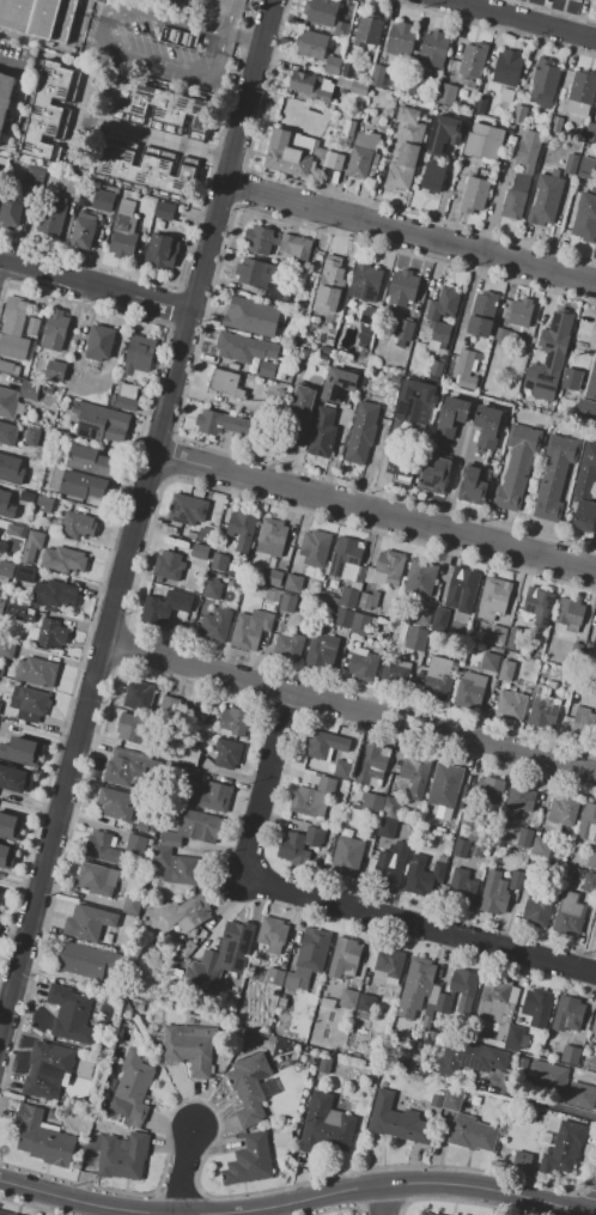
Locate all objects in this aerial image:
building: (594, 0)
building: (347, 10)
road: (555, 10)
building: (321, 13)
building: (47, 19)
road: (523, 19)
road: (492, 28)
building: (342, 29)
building: (369, 34)
road: (242, 36)
building: (401, 40)
road: (99, 43)
building: (312, 44)
building: (433, 50)
building: (474, 59)
road: (8, 63)
building: (332, 63)
building: (509, 67)
building: (377, 74)
building: (545, 84)
building: (311, 85)
building: (359, 89)
building: (5, 93)
building: (446, 93)
building: (506, 95)
building: (580, 96)
building: (481, 104)
building: (163, 105)
building: (50, 110)
building: (519, 115)
building: (315, 119)
road: (84, 120)
building: (555, 124)
building: (349, 129)
road: (157, 134)
building: (591, 134)
building: (444, 135)
building: (484, 141)
road: (215, 142)
building: (406, 148)
building: (529, 152)
building: (298, 153)
road: (230, 154)
building: (364, 156)
building: (586, 168)
building: (0, 170)
building: (146, 171)
building: (0, 174)
building: (434, 176)
building: (36, 177)
building: (522, 182)
building: (73, 186)
road: (335, 192)
building: (475, 193)
building: (545, 199)
building: (103, 200)
building: (515, 203)
building: (11, 209)
building: (165, 211)
building: (585, 217)
building: (50, 218)
building: (123, 230)
building: (83, 231)
road: (409, 232)
building: (276, 243)
building: (160, 251)
road: (8, 261)
road: (89, 261)
building: (318, 261)
building: (257, 274)
building: (337, 274)
road: (1, 281)
building: (365, 281)
road: (93, 285)
road: (178, 287)
building: (402, 287)
road: (194, 293)
building: (444, 303)
road: (174, 308)
building: (521, 312)
building: (482, 314)
building: (253, 315)
building: (367, 315)
building: (13, 316)
building: (34, 326)
building: (55, 329)
road: (184, 329)
building: (403, 332)
building: (440, 333)
building: (500, 334)
building: (416, 335)
building: (297, 339)
building: (99, 342)
building: (13, 346)
building: (241, 347)
road: (195, 350)
building: (323, 350)
building: (294, 353)
building: (373, 353)
building: (363, 354)
building: (139, 357)
building: (549, 357)
building: (323, 358)
building: (8, 367)
building: (466, 367)
building: (267, 369)
building: (55, 371)
building: (436, 371)
building: (571, 378)
building: (591, 382)
building: (226, 383)
building: (337, 384)
building: (30, 389)
building: (47, 390)
building: (370, 394)
building: (390, 401)
building: (415, 401)
building: (8, 403)
building: (126, 403)
building: (86, 408)
building: (585, 411)
building: (299, 414)
building: (452, 415)
building: (223, 424)
building: (487, 425)
building: (115, 427)
building: (322, 432)
building: (361, 432)
building: (7, 433)
building: (30, 436)
road: (334, 452)
building: (0, 455)
road: (169, 457)
building: (89, 460)
building: (517, 466)
building: (434, 473)
building: (554, 476)
road: (452, 479)
building: (475, 484)
building: (83, 485)
building: (0, 491)
building: (199, 492)
building: (584, 493)
building: (23, 496)
building: (44, 504)
building: (187, 509)
road: (308, 512)
road: (373, 512)
building: (77, 524)
building: (242, 529)
building: (13, 530)
building: (206, 535)
building: (272, 537)
building: (31, 546)
building: (2, 547)
building: (315, 548)
building: (200, 552)
road: (108, 554)
building: (346, 558)
building: (63, 559)
building: (219, 561)
building: (169, 565)
building: (389, 567)
building: (6, 569)
building: (26, 575)
building: (421, 576)
building: (272, 577)
building: (294, 583)
building: (334, 583)
building: (462, 589)
building: (212, 590)
building: (60, 594)
building: (273, 595)
building: (348, 597)
building: (493, 599)
building: (366, 601)
building: (288, 603)
building: (1, 607)
building: (164, 607)
building: (539, 607)
building: (19, 612)
building: (570, 612)
building: (425, 615)
building: (449, 618)
building: (343, 619)
building: (215, 624)
building: (360, 624)
building: (250, 628)
building: (51, 633)
building: (497, 634)
building: (595, 637)
building: (412, 638)
building: (516, 639)
building: (432, 644)
building: (288, 645)
road: (118, 646)
building: (7, 648)
building: (322, 651)
building: (491, 661)
building: (545, 663)
building: (363, 664)
building: (36, 670)
building: (506, 670)
road: (95, 672)
building: (1, 673)
building: (395, 674)
building: (438, 680)
building: (469, 691)
building: (139, 695)
building: (0, 704)
building: (31, 704)
building: (169, 705)
road: (348, 706)
building: (511, 706)
building: (542, 712)
building: (235, 721)
building: (584, 725)
building: (133, 728)
building: (324, 743)
building: (23, 749)
building: (227, 752)
building: (187, 755)
building: (371, 765)
building: (132, 767)
building: (342, 769)
building: (186, 773)
building: (415, 774)
building: (14, 778)
building: (445, 785)
building: (488, 790)
building: (212, 796)
building: (312, 797)
building: (521, 797)
building: (116, 803)
building: (372, 804)
building: (564, 810)
building: (588, 824)
building: (10, 826)
building: (142, 826)
building: (191, 827)
building: (387, 828)
building: (525, 837)
building: (135, 845)
building: (299, 845)
building: (541, 846)
building: (102, 848)
building: (461, 848)
building: (347, 851)
building: (6, 855)
building: (591, 859)
building: (177, 867)
building: (388, 870)
building: (535, 870)
building: (422, 876)
building: (97, 879)
building: (516, 880)
road: (56, 882)
building: (589, 882)
building: (462, 888)
building: (494, 893)
building: (1, 897)
road: (324, 899)
building: (132, 904)
building: (188, 912)
building: (536, 912)
building: (570, 912)
building: (594, 913)
building: (91, 924)
building: (272, 934)
building: (236, 942)
building: (188, 948)
building: (343, 955)
building: (306, 958)
building: (90, 960)
building: (389, 962)
building: (175, 974)
building: (272, 976)
building: (415, 985)
building: (464, 989)
building: (513, 995)
building: (348, 998)
building: (327, 1002)
building: (537, 1002)
building: (366, 1003)
building: (443, 1003)
building: (507, 1012)
building: (567, 1014)
building: (71, 1015)
building: (276, 1023)
building: (594, 1026)
building: (432, 1035)
building: (513, 1037)
building: (189, 1047)
building: (570, 1055)
building: (469, 1057)
building: (522, 1063)
building: (592, 1063)
building: (326, 1064)
building: (413, 1065)
building: (47, 1069)
building: (547, 1076)
building: (133, 1085)
building: (249, 1087)
building: (582, 1095)
building: (437, 1100)
building: (452, 1100)
road: (542, 1101)
building: (397, 1119)
building: (324, 1125)
building: (472, 1132)
building: (41, 1140)
building: (564, 1148)
building: (122, 1155)
building: (522, 1159)
building: (250, 1160)
road: (181, 1170)
road: (590, 1192)
road: (215, 1195)
road: (387, 1198)
road: (298, 1199)
road: (458, 1201)
road: (35, 1205)
road: (337, 1207)
building: (6, 1213)
building: (430, 1213)

